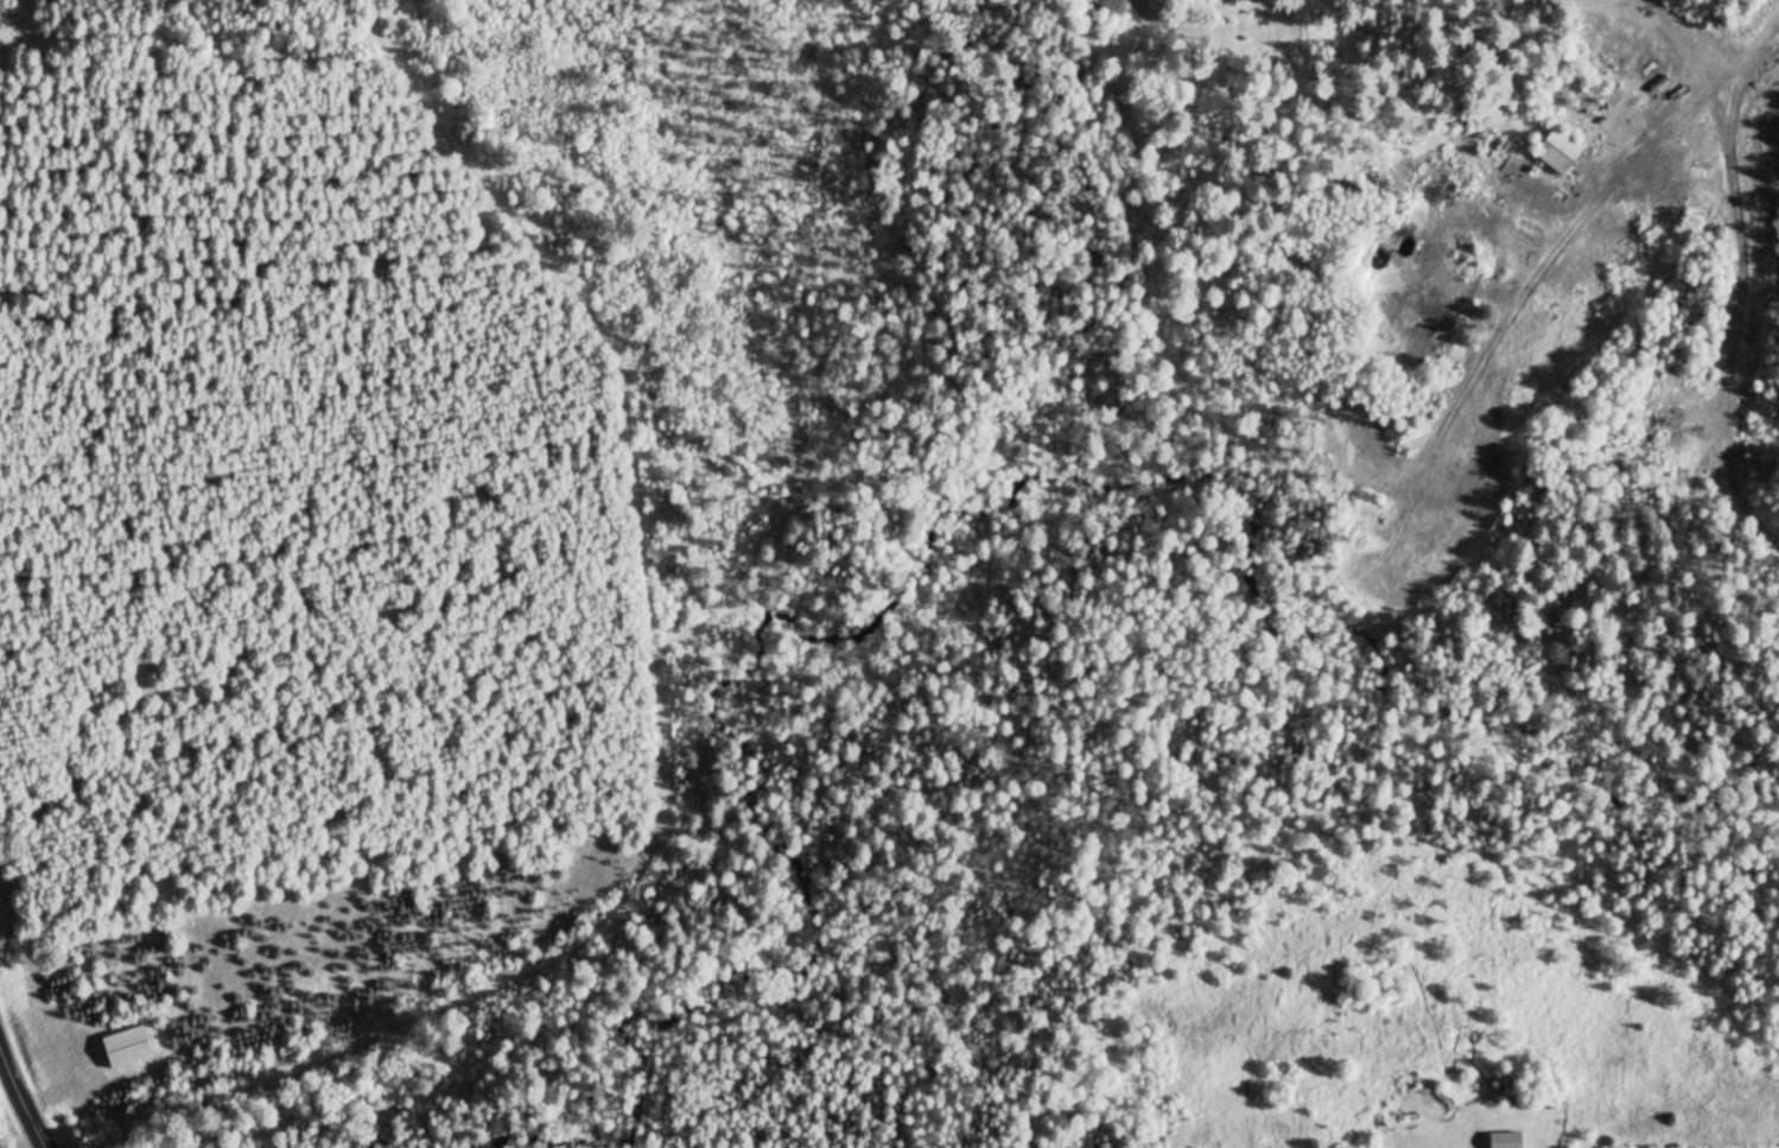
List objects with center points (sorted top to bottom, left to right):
road: (1733, 47)
building: (1552, 152)
building: (120, 1047)
road: (24, 1097)

